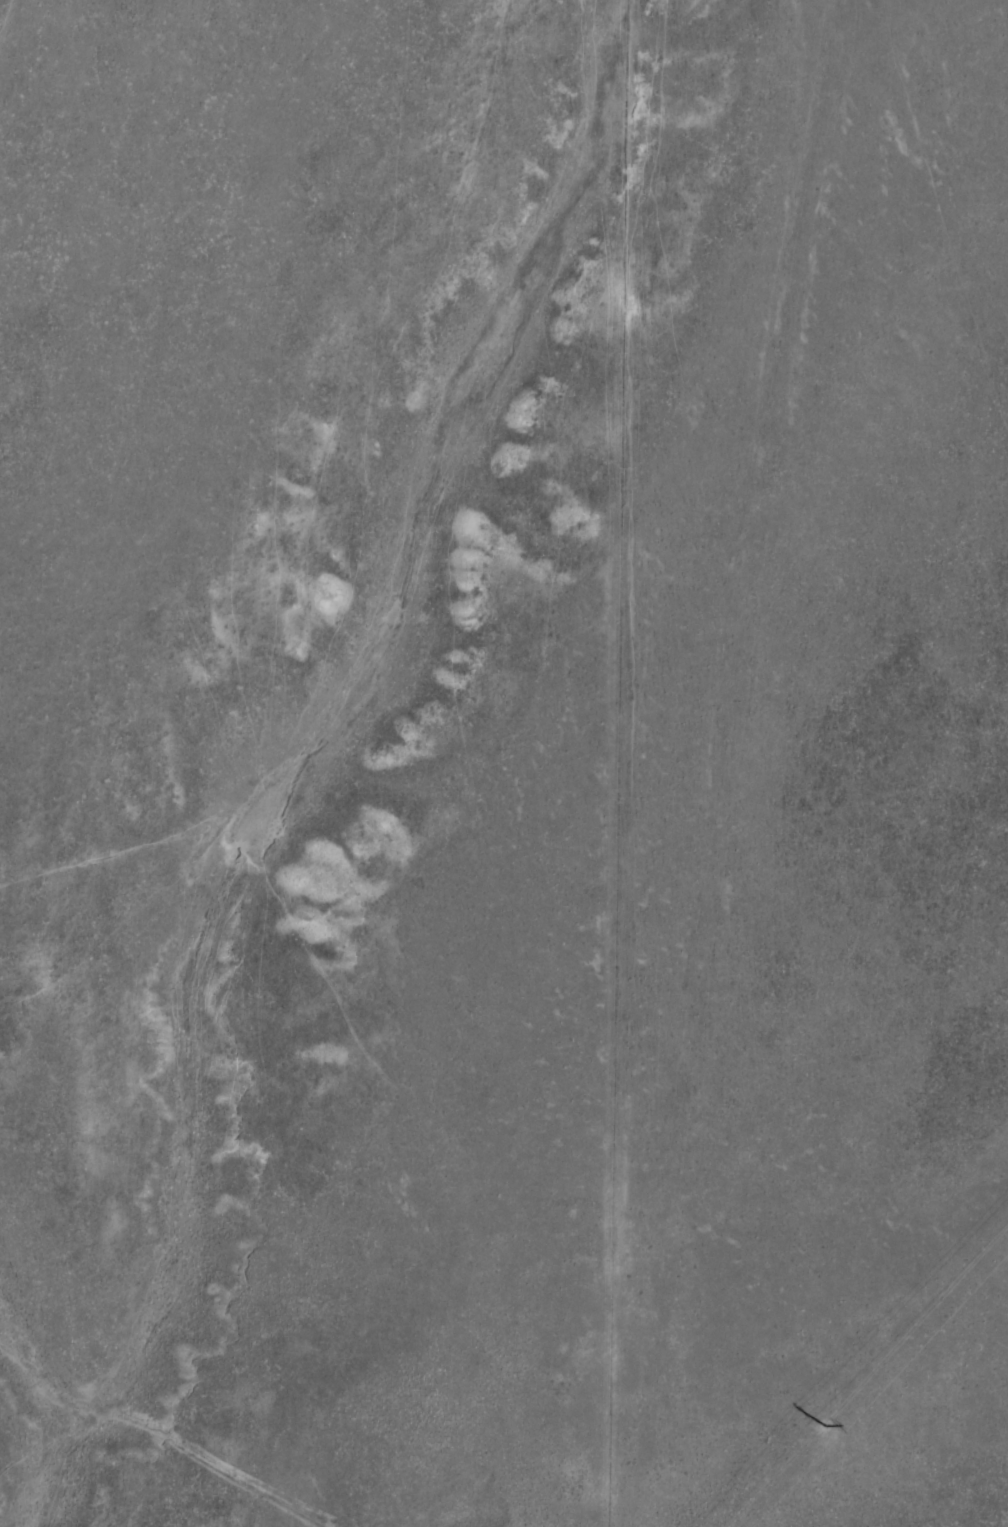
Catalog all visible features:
power tower: (823, 1427)

